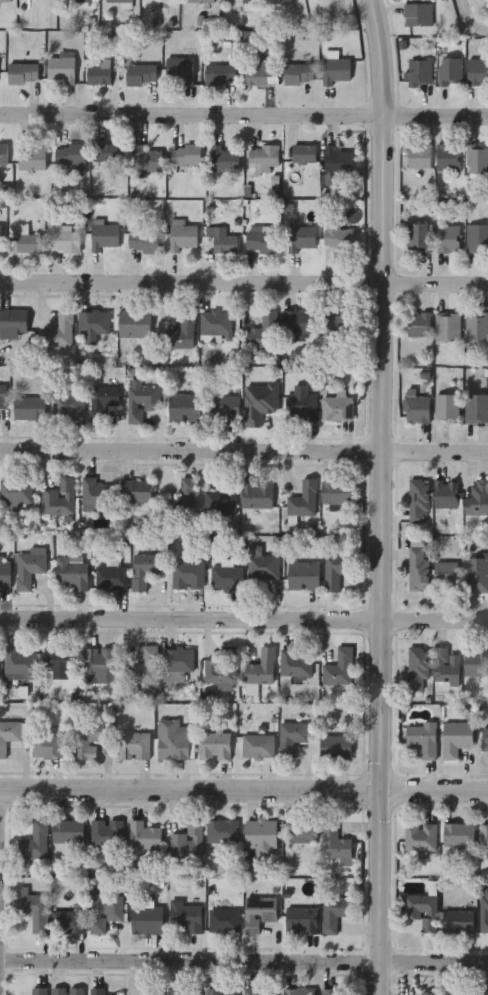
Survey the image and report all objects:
building: (77, 0)
building: (5, 1)
building: (119, 1)
building: (201, 1)
building: (249, 1)
building: (417, 15)
road: (470, 17)
building: (61, 67)
building: (179, 70)
building: (336, 70)
building: (450, 71)
building: (478, 72)
building: (22, 73)
building: (257, 73)
building: (419, 73)
building: (141, 74)
building: (298, 74)
building: (99, 75)
building: (219, 75)
road: (244, 107)
building: (109, 153)
building: (3, 154)
building: (304, 154)
building: (70, 155)
building: (186, 155)
building: (419, 156)
building: (32, 157)
building: (448, 157)
building: (263, 158)
building: (146, 159)
building: (477, 159)
building: (224, 160)
building: (337, 162)
building: (182, 235)
building: (338, 235)
building: (0, 237)
building: (104, 237)
building: (418, 237)
building: (447, 238)
building: (477, 238)
building: (301, 239)
building: (64, 240)
building: (260, 241)
building: (143, 242)
building: (28, 244)
building: (225, 244)
road: (244, 274)
building: (12, 320)
building: (88, 322)
building: (297, 322)
building: (337, 322)
building: (134, 324)
building: (418, 324)
building: (214, 326)
building: (446, 327)
building: (476, 327)
building: (59, 331)
building: (263, 331)
building: (181, 332)
building: (2, 396)
building: (101, 400)
building: (140, 400)
building: (256, 401)
building: (300, 405)
building: (68, 406)
building: (224, 406)
building: (337, 407)
building: (29, 408)
building: (185, 408)
building: (446, 408)
building: (476, 408)
building: (417, 409)
road: (243, 442)
building: (15, 491)
building: (136, 491)
building: (336, 492)
building: (97, 495)
building: (256, 495)
building: (445, 495)
road: (381, 497)
building: (59, 498)
building: (477, 498)
building: (221, 499)
building: (182, 500)
building: (303, 500)
building: (418, 501)
building: (145, 566)
building: (262, 567)
building: (29, 568)
building: (417, 569)
building: (335, 570)
building: (72, 572)
building: (476, 573)
building: (5, 574)
building: (188, 575)
building: (303, 575)
building: (445, 575)
building: (111, 577)
building: (226, 578)
road: (244, 610)
building: (60, 658)
building: (177, 659)
building: (20, 661)
building: (475, 661)
building: (294, 662)
building: (99, 665)
building: (144, 667)
building: (444, 667)
building: (221, 668)
building: (261, 668)
building: (338, 668)
building: (417, 669)
building: (9, 735)
building: (290, 738)
building: (456, 738)
building: (88, 739)
building: (422, 739)
building: (484, 739)
building: (173, 740)
building: (47, 746)
building: (133, 746)
building: (215, 746)
building: (257, 746)
building: (335, 747)
road: (243, 789)
building: (67, 830)
building: (221, 831)
building: (300, 831)
building: (105, 832)
building: (457, 834)
building: (143, 836)
building: (418, 836)
building: (483, 836)
building: (260, 837)
building: (34, 839)
building: (186, 840)
building: (333, 842)
building: (32, 909)
building: (420, 909)
building: (483, 909)
building: (259, 910)
building: (103, 911)
building: (333, 912)
building: (184, 917)
building: (146, 919)
building: (222, 920)
building: (299, 920)
building: (457, 920)
building: (69, 922)
road: (244, 953)
building: (36, 991)
building: (66, 991)
building: (96, 991)
building: (154, 991)
building: (182, 991)
building: (220, 991)
building: (250, 991)
building: (298, 991)
building: (328, 991)
building: (426, 993)
building: (453, 993)
building: (483, 993)

